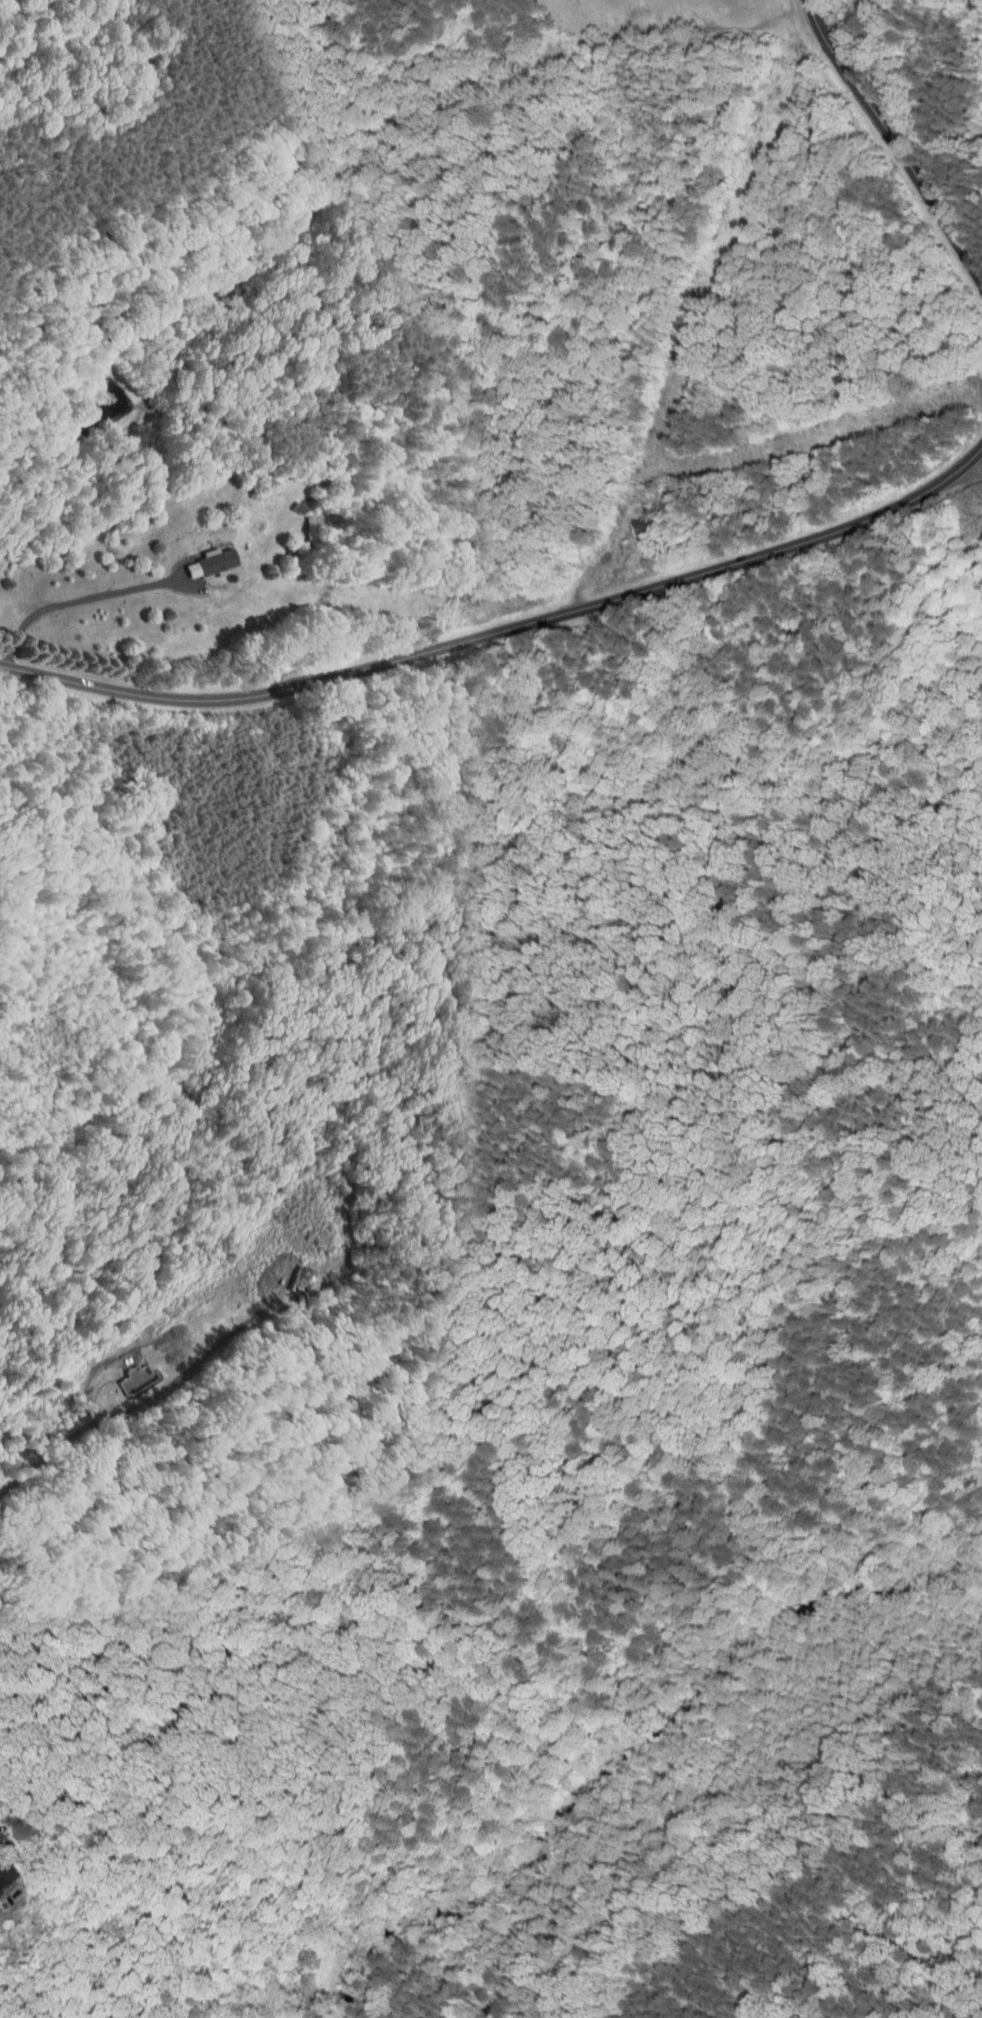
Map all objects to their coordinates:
road: (895, 146)
building: (202, 554)
road: (78, 599)
road: (504, 629)
building: (2, 1867)

